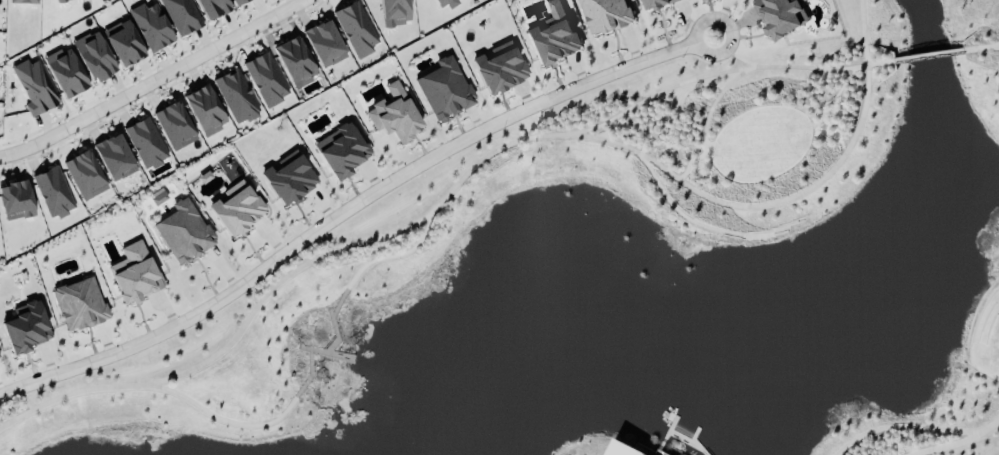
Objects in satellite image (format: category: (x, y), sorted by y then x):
building: (62, 1)
building: (24, 2)
building: (240, 2)
building: (448, 3)
building: (657, 4)
building: (213, 8)
building: (395, 12)
building: (604, 15)
building: (182, 16)
building: (779, 16)
building: (152, 27)
building: (356, 30)
building: (553, 36)
building: (124, 43)
building: (325, 44)
road: (980, 48)
road: (730, 54)
road: (927, 56)
building: (94, 57)
building: (295, 62)
building: (501, 69)
road: (723, 72)
building: (66, 73)
building: (266, 80)
road: (153, 82)
building: (34, 87)
building: (445, 90)
building: (236, 97)
road: (832, 99)
building: (205, 111)
building: (395, 115)
road: (705, 121)
building: (174, 126)
building: (145, 144)
park: (759, 144)
road: (707, 148)
building: (341, 151)
building: (114, 158)
road: (478, 163)
building: (85, 176)
building: (289, 179)
building: (53, 193)
building: (16, 202)
road: (670, 205)
road: (350, 207)
building: (237, 209)
building: (184, 233)
road: (391, 255)
building: (134, 274)
building: (80, 305)
pier: (339, 305)
building: (26, 328)
pier: (336, 332)
pier: (327, 353)
pier: (311, 376)
road: (226, 420)
road: (959, 443)
building: (622, 449)

